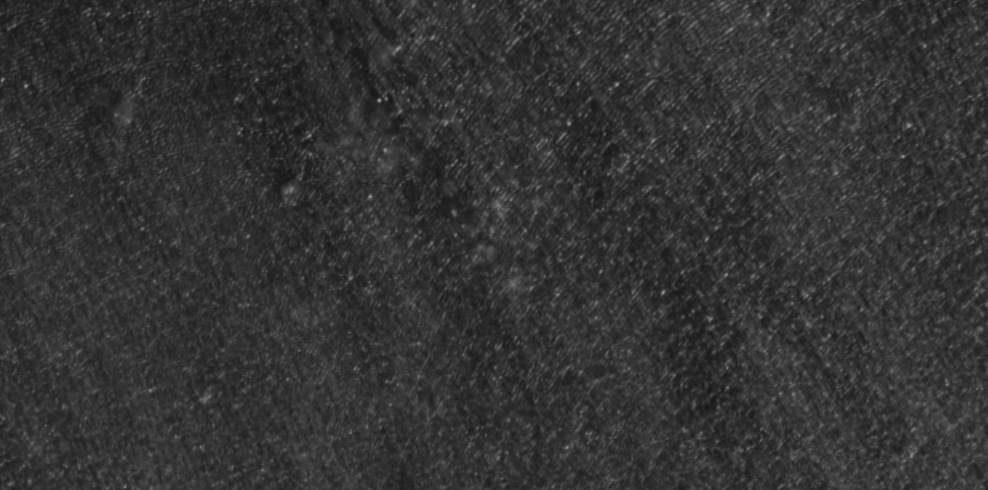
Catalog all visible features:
wastewater plant: (494, 245)

